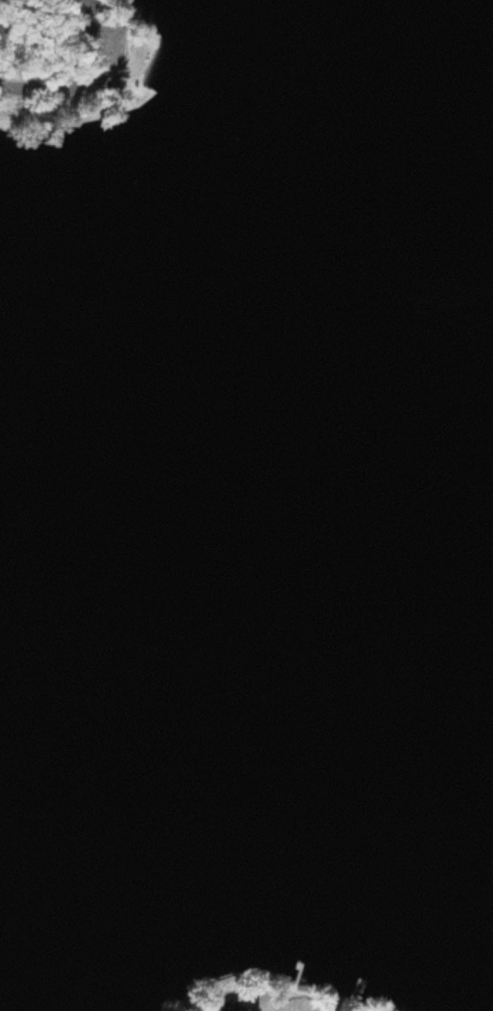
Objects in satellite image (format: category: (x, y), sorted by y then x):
parking lot: (108, 50)
park: (74, 63)
road: (93, 80)

